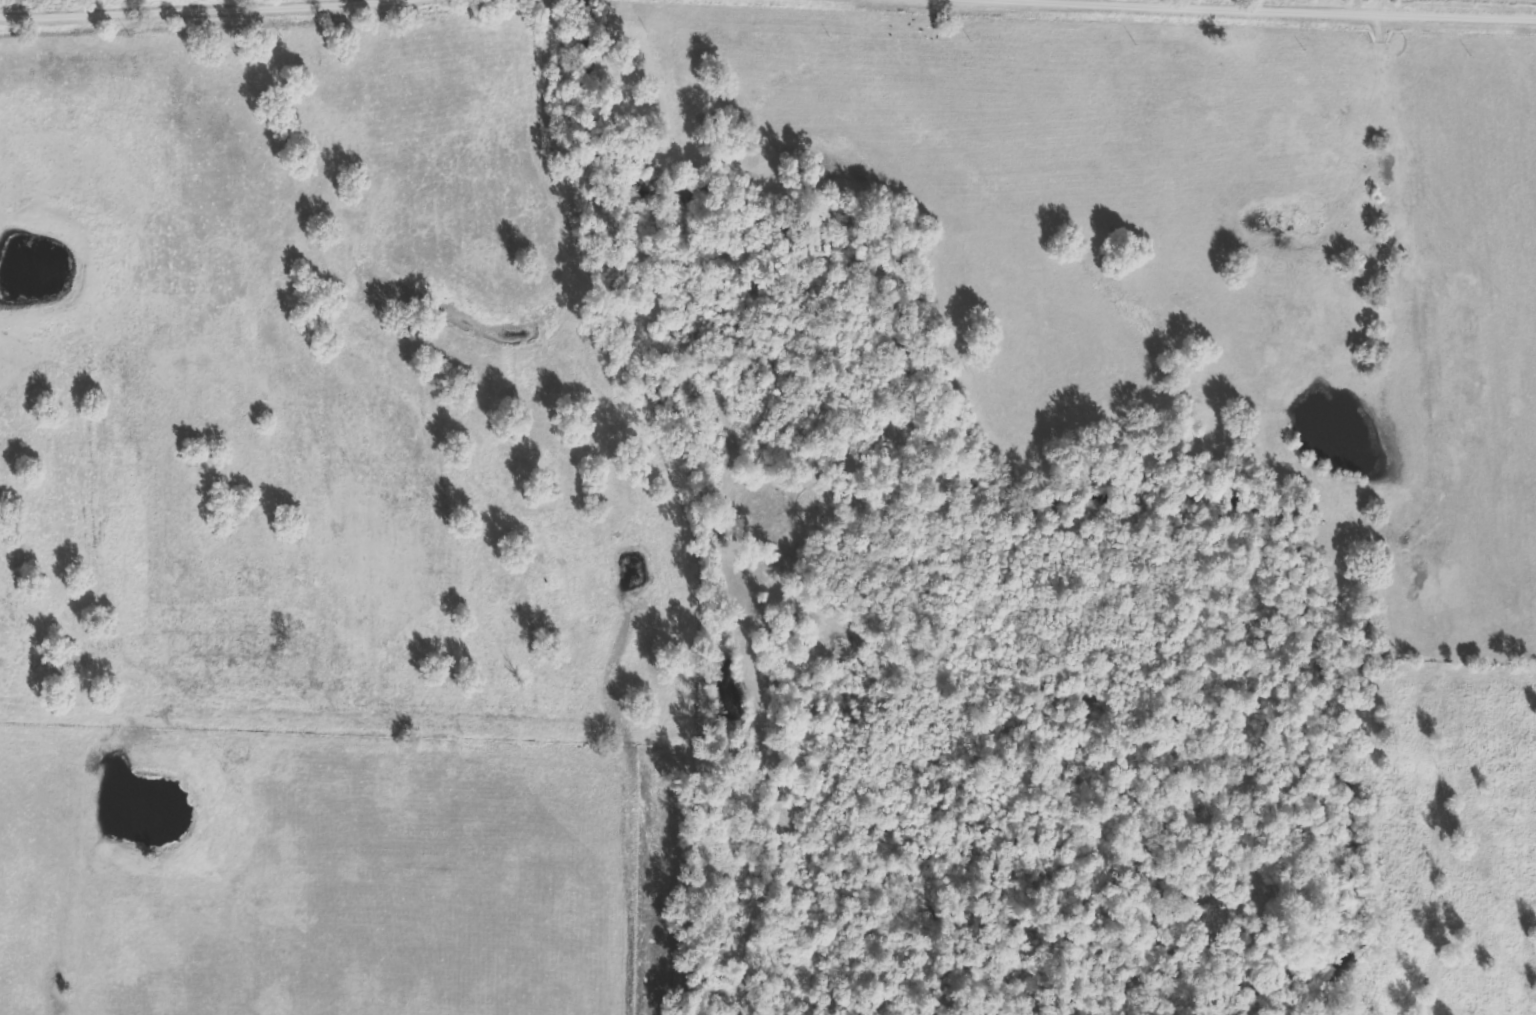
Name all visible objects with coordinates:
road: (1153, 3)
road: (166, 8)
road: (1279, 10)

